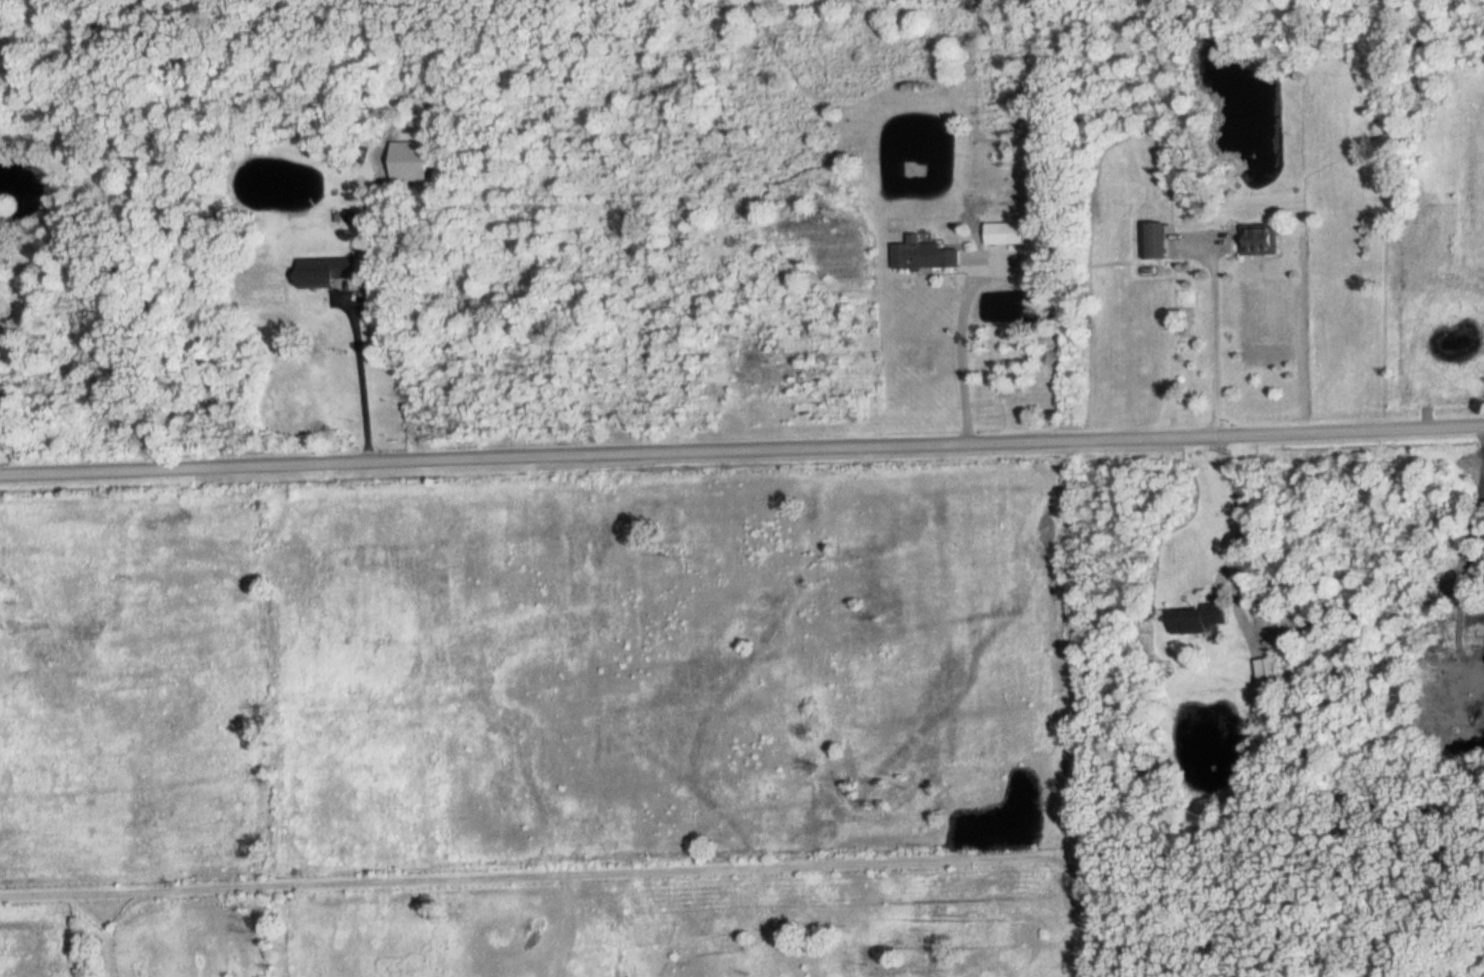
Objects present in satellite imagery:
building: (1004, 234)
building: (1260, 240)
building: (1153, 241)
building: (924, 256)
building: (329, 273)
road: (1209, 332)
road: (955, 346)
road: (359, 387)
road: (742, 457)
road: (1236, 509)
building: (1196, 619)
building: (1266, 672)

